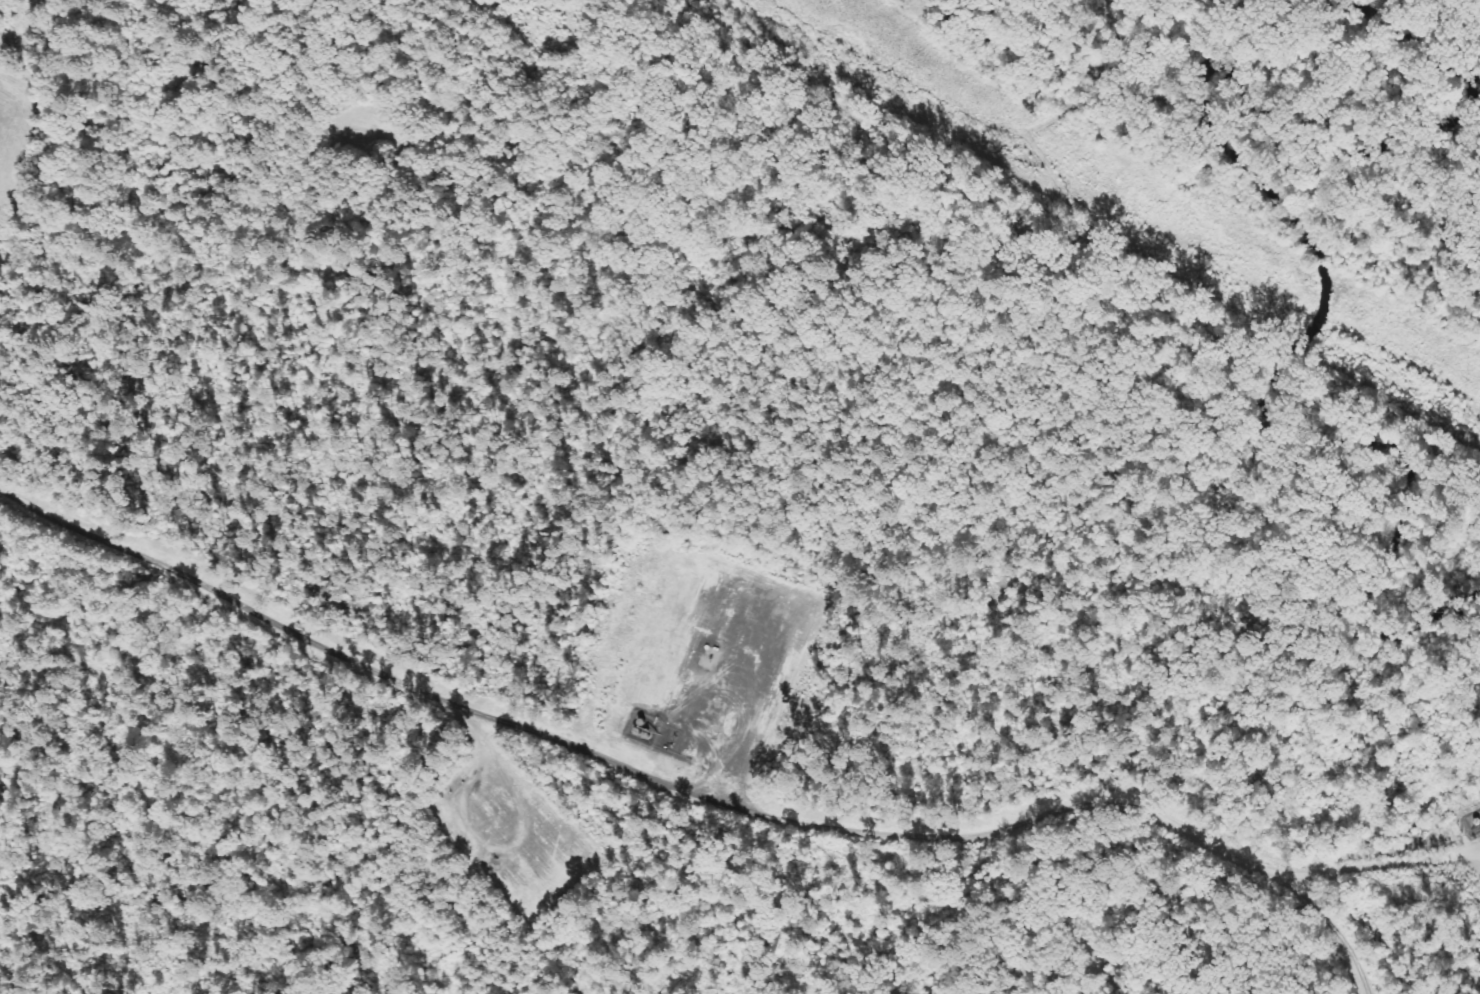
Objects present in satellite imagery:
road: (719, 801)

